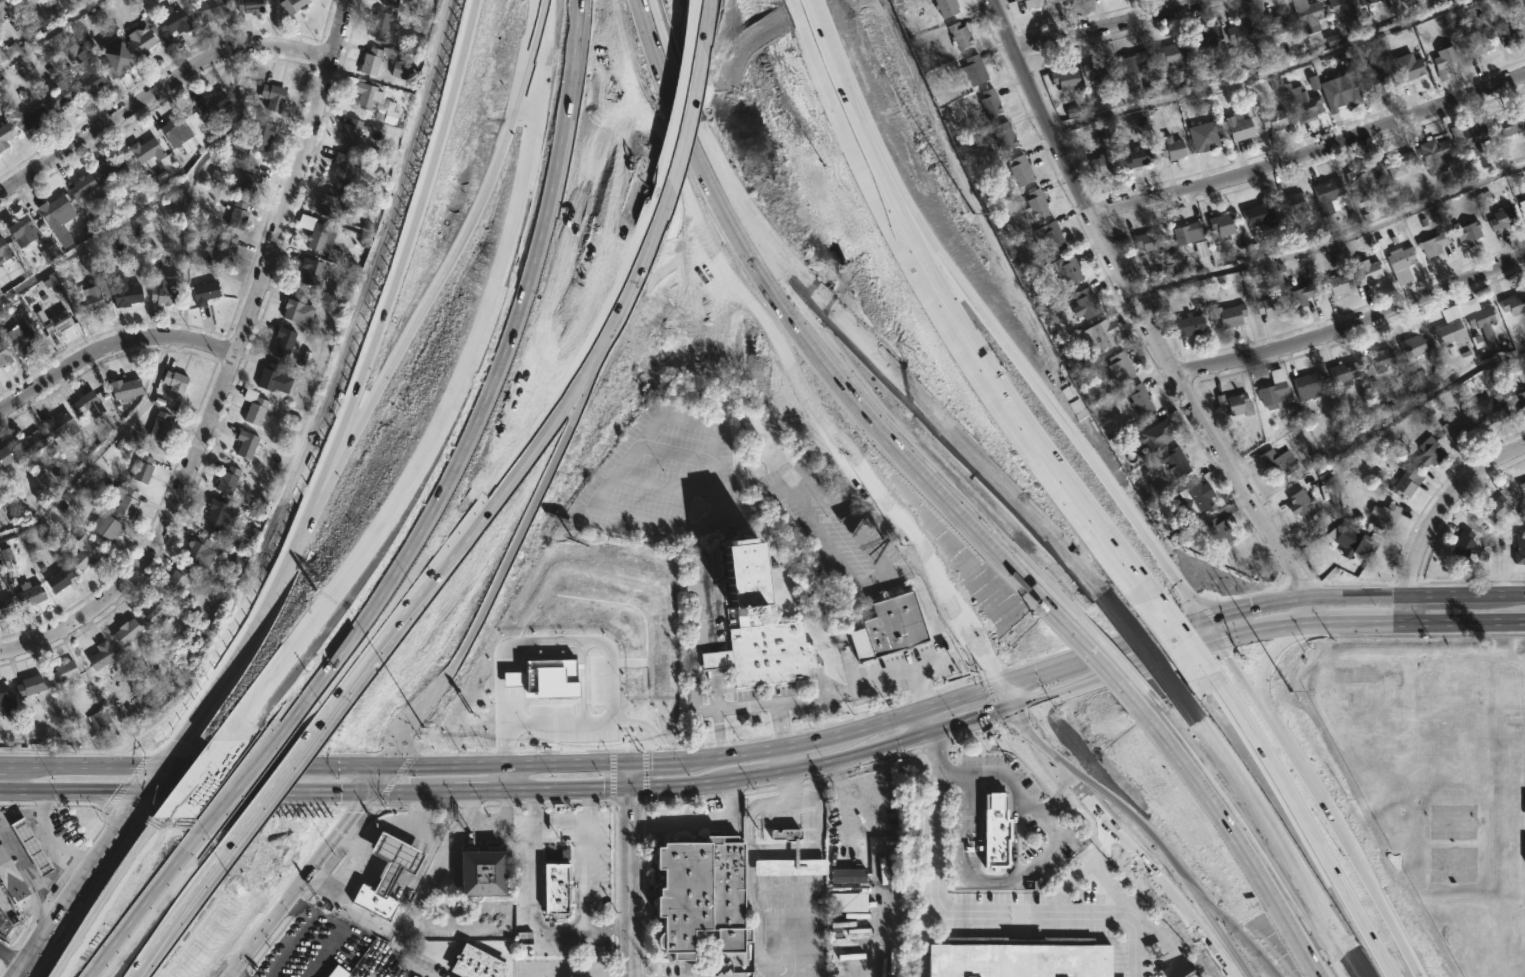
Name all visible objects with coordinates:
building: (1013, 0)
building: (1061, 0)
building: (1375, 0)
building: (16, 2)
road: (540, 2)
building: (388, 3)
building: (1029, 3)
building: (248, 5)
building: (288, 5)
building: (2, 7)
building: (945, 7)
building: (1344, 7)
building: (208, 9)
road: (690, 11)
road: (703, 11)
building: (1309, 11)
building: (0, 22)
building: (169, 22)
building: (1275, 22)
road: (271, 23)
building: (379, 23)
road: (1117, 26)
building: (1511, 30)
road: (47, 33)
building: (1238, 34)
building: (958, 36)
building: (138, 40)
building: (1475, 42)
building: (1205, 45)
building: (1168, 53)
building: (1444, 56)
building: (112, 60)
building: (370, 61)
building: (1132, 62)
road: (829, 63)
building: (1407, 67)
building: (399, 70)
building: (973, 70)
building: (1097, 70)
building: (88, 76)
building: (1062, 79)
building: (1376, 82)
road: (687, 89)
building: (1339, 90)
road: (635, 91)
road: (157, 92)
road: (538, 92)
building: (365, 94)
building: (57, 96)
building: (270, 96)
building: (210, 103)
building: (989, 103)
road: (674, 106)
building: (1307, 106)
road: (686, 107)
building: (390, 114)
building: (31, 118)
building: (1274, 119)
building: (1509, 123)
building: (1238, 127)
building: (172, 131)
building: (348, 132)
building: (5, 133)
building: (259, 134)
building: (1004, 137)
building: (1203, 137)
building: (1470, 137)
building: (1171, 148)
building: (144, 150)
road: (1310, 154)
building: (1136, 158)
building: (1439, 158)
building: (1104, 162)
building: (1398, 164)
building: (341, 168)
building: (110, 171)
building: (1019, 171)
building: (247, 182)
building: (1361, 183)
building: (80, 185)
road: (157, 195)
building: (1326, 196)
building: (1524, 199)
building: (1292, 202)
building: (330, 204)
building: (1035, 204)
building: (51, 210)
building: (1257, 214)
building: (235, 216)
building: (1503, 218)
building: (1220, 224)
building: (18, 230)
building: (1468, 232)
building: (1187, 233)
building: (1049, 236)
building: (1149, 241)
road: (1332, 241)
building: (321, 242)
building: (1433, 244)
road: (462, 245)
building: (3, 252)
building: (224, 252)
building: (49, 253)
building: (88, 259)
building: (1400, 263)
building: (1065, 269)
building: (309, 271)
building: (1366, 272)
road: (406, 274)
building: (1334, 285)
building: (163, 290)
building: (121, 293)
building: (201, 293)
building: (1298, 296)
building: (85, 301)
building: (1085, 303)
building: (1513, 304)
building: (1267, 306)
building: (295, 311)
building: (1230, 314)
road: (1145, 316)
building: (1480, 317)
building: (54, 323)
building: (1189, 324)
road: (1352, 324)
building: (1448, 332)
building: (17, 338)
building: (1100, 338)
building: (281, 343)
building: (1413, 346)
road: (833, 347)
road: (110, 348)
road: (794, 357)
road: (978, 358)
building: (3, 359)
building: (1381, 360)
road: (229, 368)
building: (1118, 368)
road: (1028, 370)
building: (1341, 373)
building: (272, 379)
building: (171, 384)
road: (910, 385)
building: (1307, 386)
building: (121, 388)
building: (1271, 390)
road: (1428, 394)
building: (1518, 399)
building: (1134, 400)
building: (86, 404)
building: (1234, 404)
building: (252, 407)
building: (1491, 411)
building: (59, 425)
building: (157, 426)
building: (1455, 429)
building: (1155, 430)
road: (825, 435)
building: (26, 444)
building: (244, 444)
road: (638, 444)
building: (1429, 452)
building: (5, 454)
road: (425, 456)
building: (1174, 461)
road: (506, 465)
building: (1278, 465)
building: (139, 469)
building: (225, 480)
road: (550, 481)
building: (1405, 481)
building: (1521, 486)
building: (1193, 498)
road: (750, 501)
building: (123, 502)
building: (1302, 502)
road: (1447, 506)
building: (1495, 510)
building: (217, 517)
building: (1383, 517)
building: (102, 528)
building: (1220, 532)
building: (1463, 545)
building: (1519, 549)
building: (200, 551)
building: (1360, 551)
building: (82, 553)
building: (5, 554)
road: (975, 573)
building: (56, 579)
building: (174, 581)
road: (1495, 592)
road: (1437, 593)
road: (1329, 594)
building: (29, 595)
road: (1202, 595)
building: (4, 607)
road: (1409, 607)
road: (1225, 609)
road: (262, 611)
building: (151, 612)
traffic signals: (1200, 616)
road: (1467, 621)
road: (1342, 623)
building: (757, 625)
road: (1206, 628)
building: (886, 629)
road: (1161, 629)
building: (125, 632)
road: (1244, 632)
road: (1176, 634)
traffic signals: (1213, 640)
road: (1144, 645)
road: (1177, 652)
building: (99, 655)
road: (1061, 662)
road: (1271, 663)
building: (61, 673)
road: (1062, 676)
road: (1243, 678)
building: (548, 679)
traffic signals: (1000, 682)
building: (27, 686)
road: (981, 688)
building: (4, 692)
road: (836, 693)
road: (942, 700)
building: (0, 705)
traffic signals: (1013, 706)
building: (96, 719)
building: (743, 719)
road: (873, 720)
road: (925, 720)
road: (965, 721)
road: (779, 724)
road: (188, 725)
road: (803, 740)
road: (730, 756)
road: (652, 759)
traffic signals: (651, 760)
road: (784, 761)
road: (2, 762)
road: (80, 763)
traffic signals: (381, 763)
road: (503, 763)
road: (300, 764)
traffic signals: (156, 765)
road: (187, 765)
road: (207, 765)
road: (998, 772)
road: (277, 775)
road: (507, 776)
road: (372, 777)
road: (1065, 778)
road: (762, 779)
road: (788, 788)
traffic signals: (603, 789)
road: (622, 789)
road: (338, 790)
road: (480, 790)
traffic signals: (137, 791)
road: (182, 791)
road: (408, 791)
traffic signals: (364, 792)
road: (587, 806)
traffic signals: (627, 806)
road: (529, 807)
road: (19, 813)
road: (808, 821)
road: (558, 824)
road: (1051, 825)
building: (995, 831)
road: (1305, 833)
road: (1278, 837)
road: (42, 841)
road: (1352, 844)
building: (27, 846)
road: (1210, 849)
building: (794, 850)
building: (393, 859)
gas station: (393, 859)
road: (751, 864)
road: (877, 866)
road: (809, 867)
road: (627, 868)
road: (83, 870)
building: (6, 872)
road: (964, 872)
road: (1079, 872)
building: (480, 874)
road: (587, 875)
building: (848, 876)
road: (47, 877)
road: (1178, 878)
road: (24, 882)
road: (293, 884)
road: (1112, 886)
building: (556, 889)
building: (699, 894)
road: (107, 902)
building: (373, 902)
building: (846, 902)
road: (178, 904)
road: (241, 907)
road: (529, 907)
road: (990, 913)
road: (1190, 920)
road: (608, 926)
road: (334, 930)
road: (48, 933)
road: (1155, 935)
road: (1243, 937)
road: (811, 943)
road: (10, 957)
building: (1017, 957)
building: (474, 963)
road: (1180, 969)
building: (335, 972)
road: (232, 973)
road: (683, 974)

